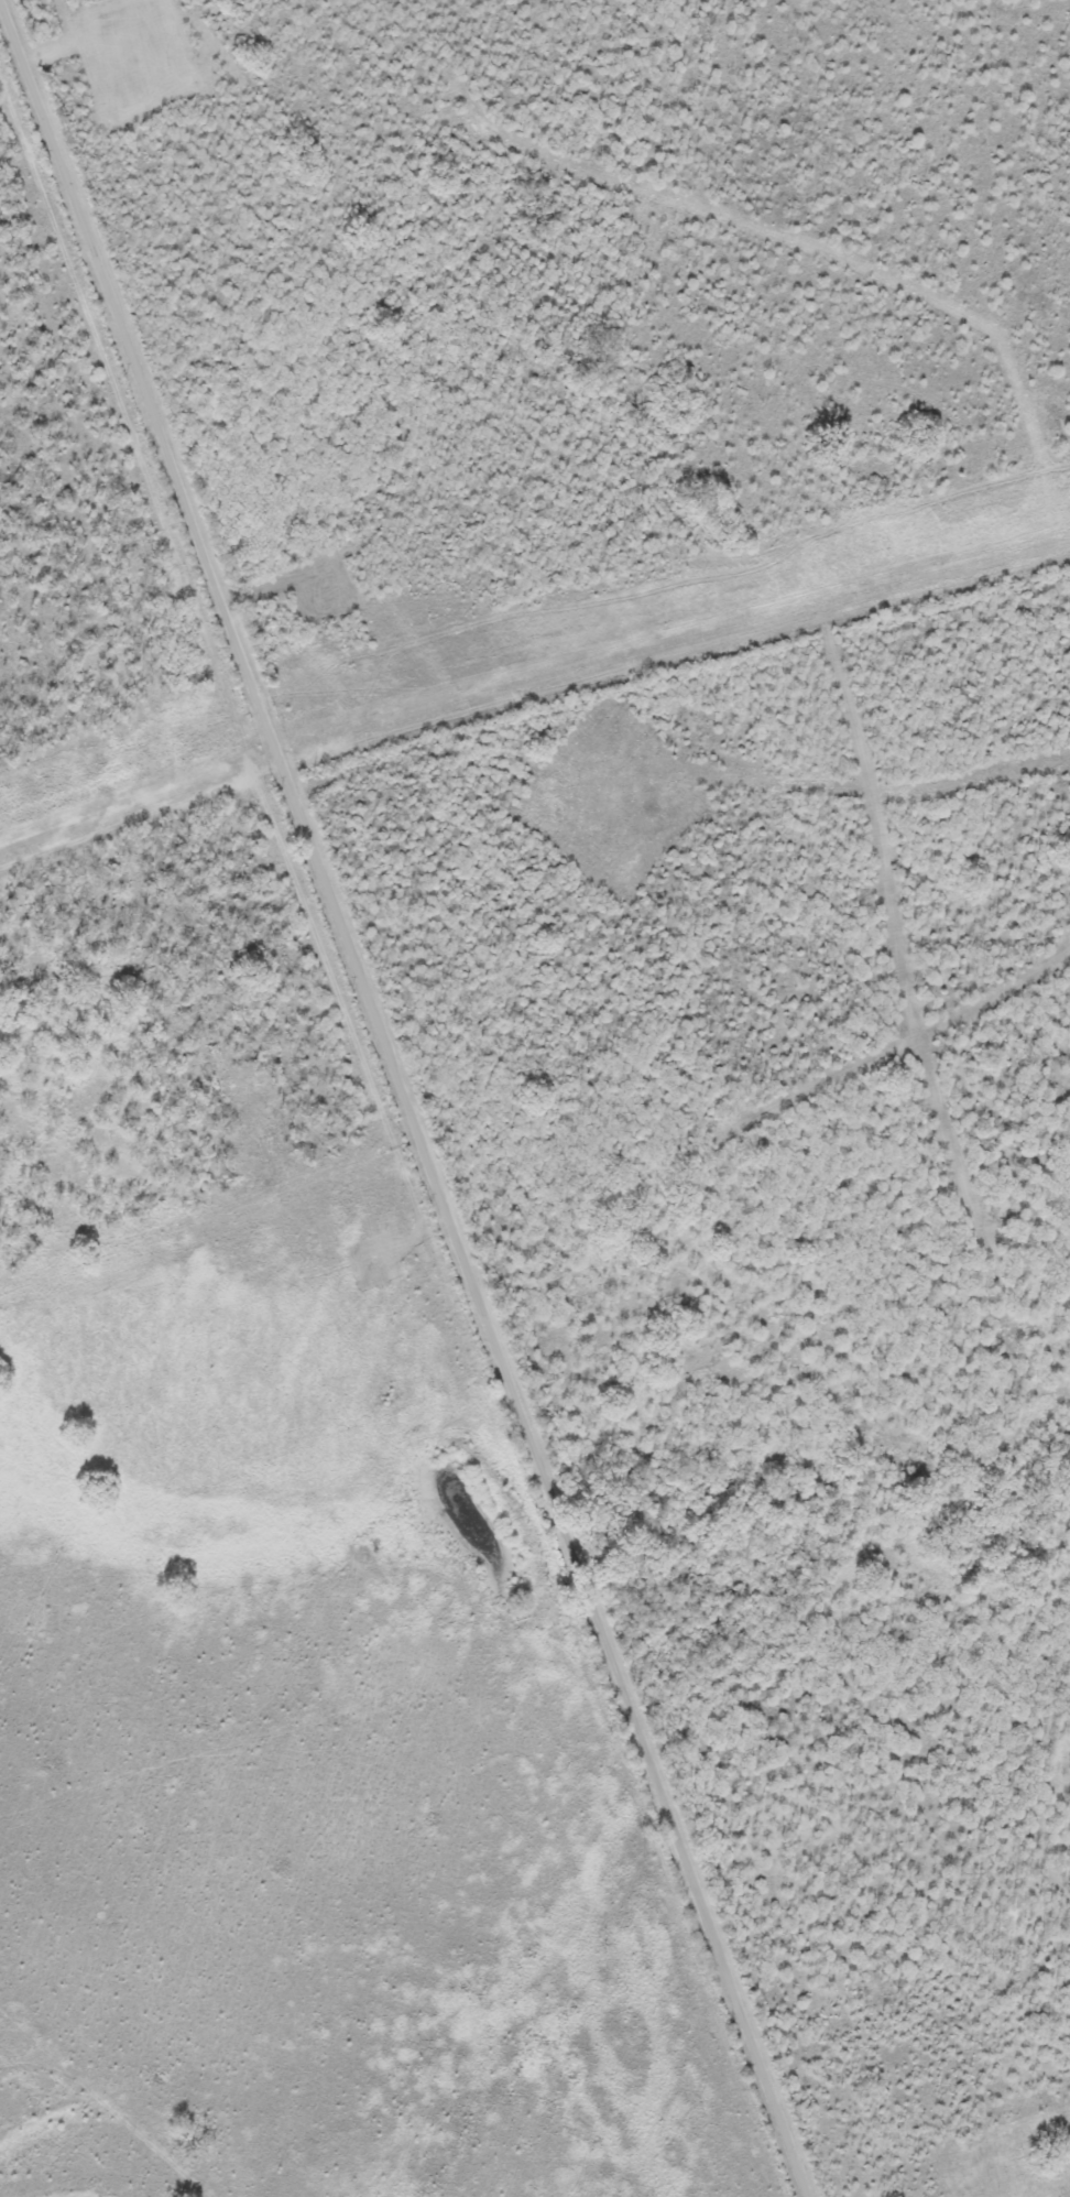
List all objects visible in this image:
road: (406, 1098)

